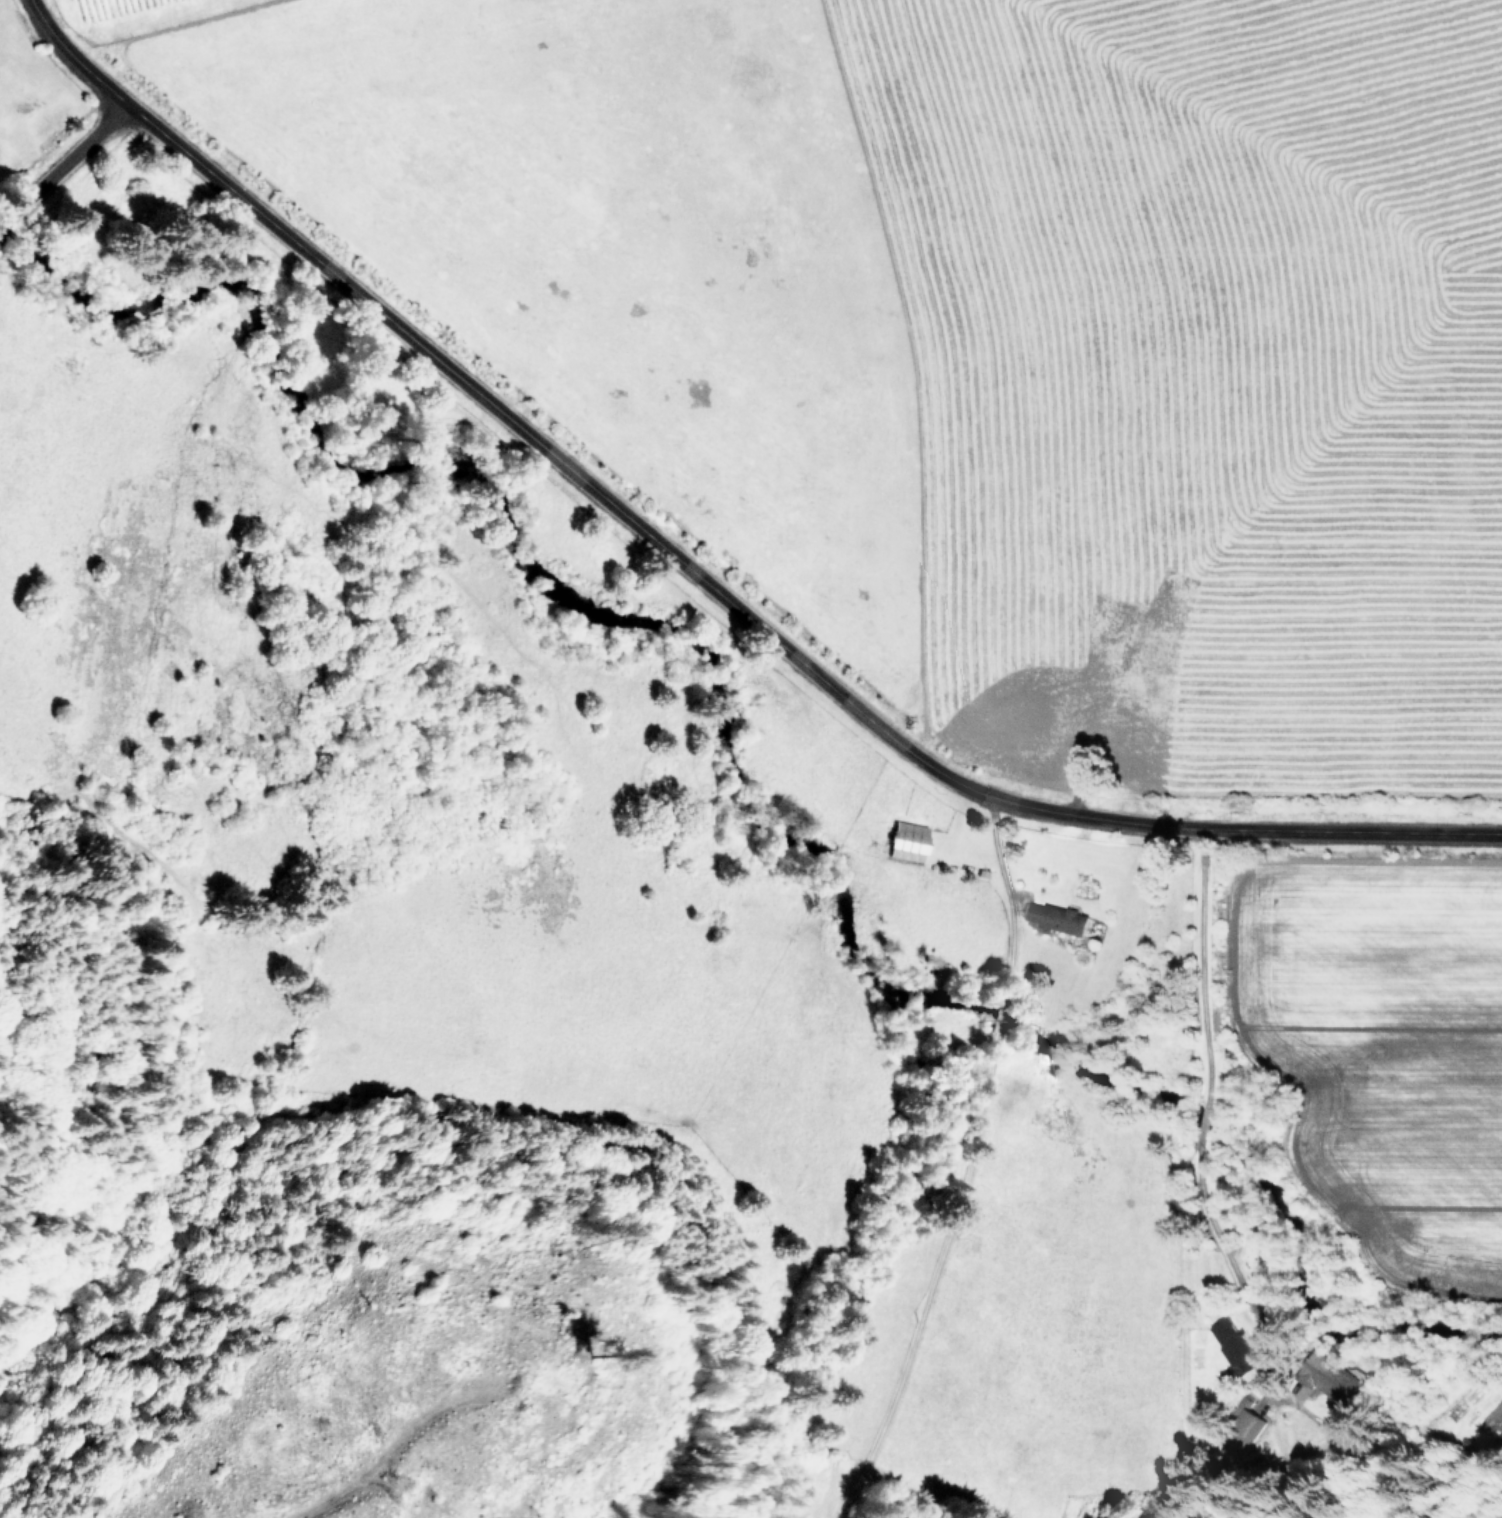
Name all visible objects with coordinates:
road: (63, 161)
road: (692, 576)
crop: (810, 654)
building: (1057, 917)
road: (1194, 1082)
road: (956, 1161)
building: (1233, 1348)
building: (1343, 1388)

